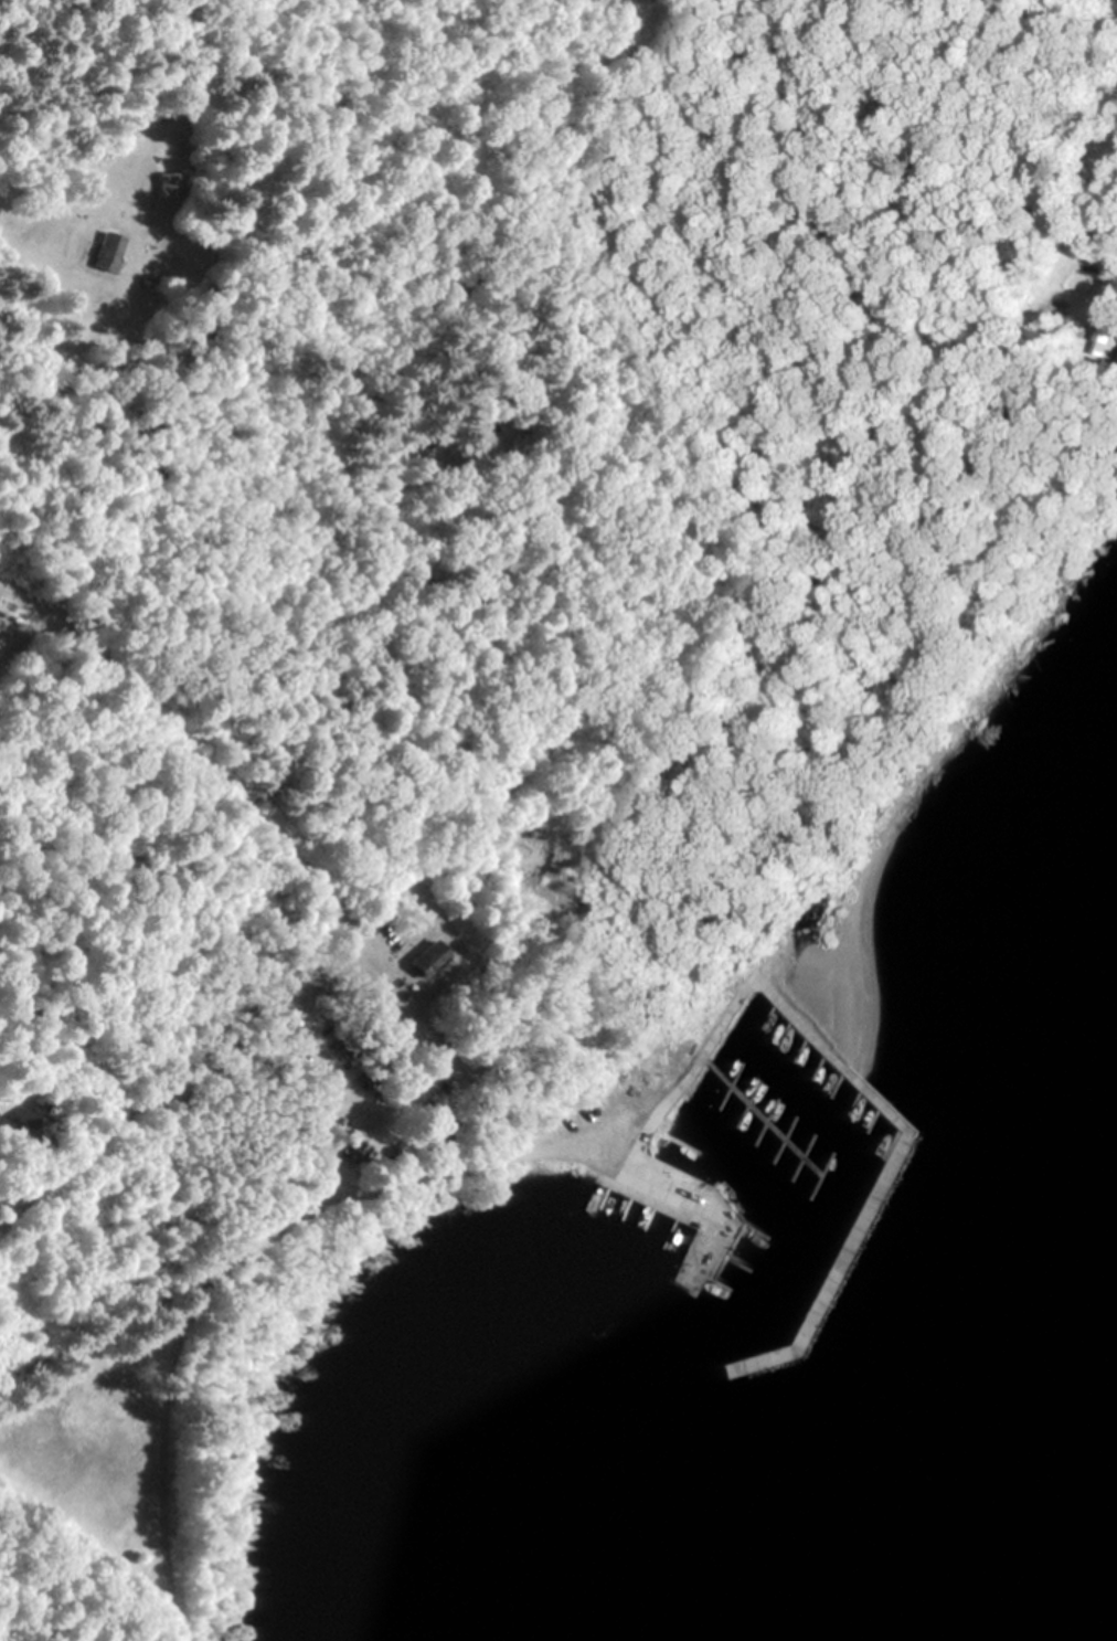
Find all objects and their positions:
road: (481, 3)
building: (169, 184)
building: (104, 252)
building: (1067, 276)
road: (768, 304)
park: (24, 614)
road: (593, 711)
building: (425, 960)
road: (680, 1081)
pier: (891, 1171)
road: (379, 1186)
pier: (701, 1208)

